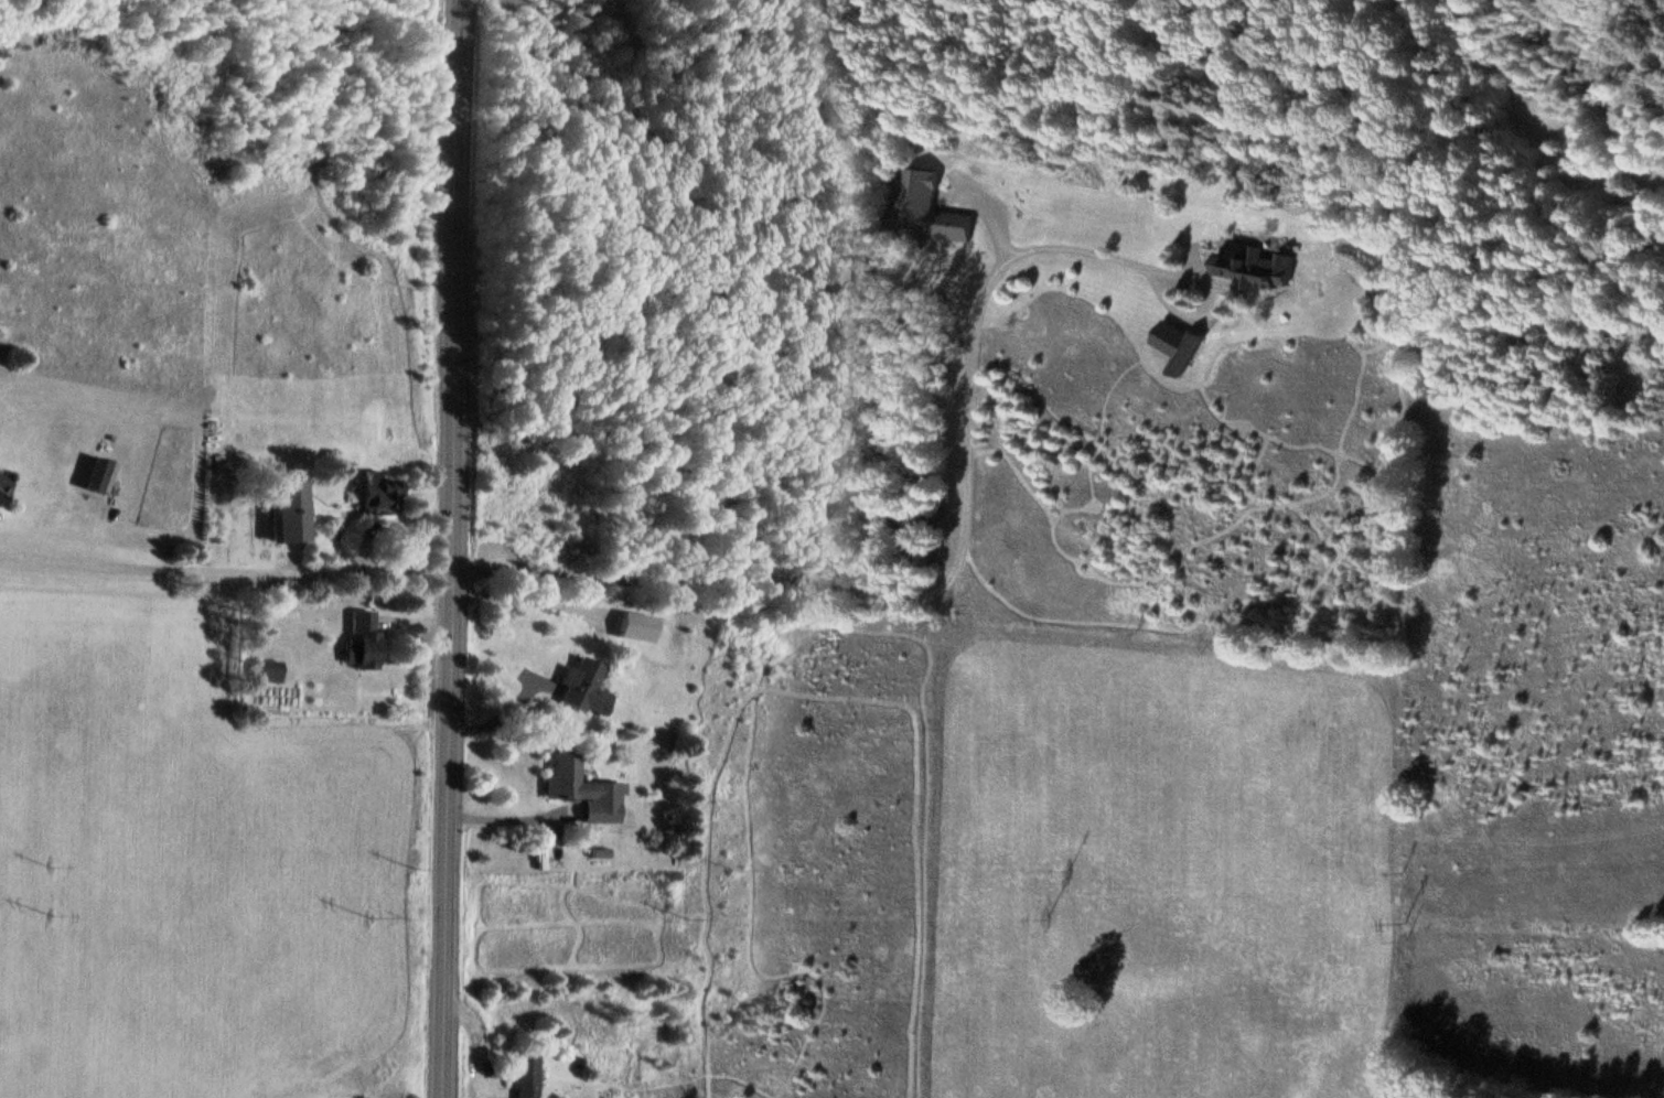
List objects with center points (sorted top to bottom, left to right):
park: (223, 24)
building: (928, 209)
building: (1256, 268)
building: (1179, 346)
building: (99, 474)
building: (3, 485)
building: (377, 493)
building: (286, 505)
building: (916, 520)
road: (454, 549)
building: (923, 555)
building: (363, 639)
building: (268, 669)
building: (583, 686)
building: (583, 789)
building: (527, 1073)

